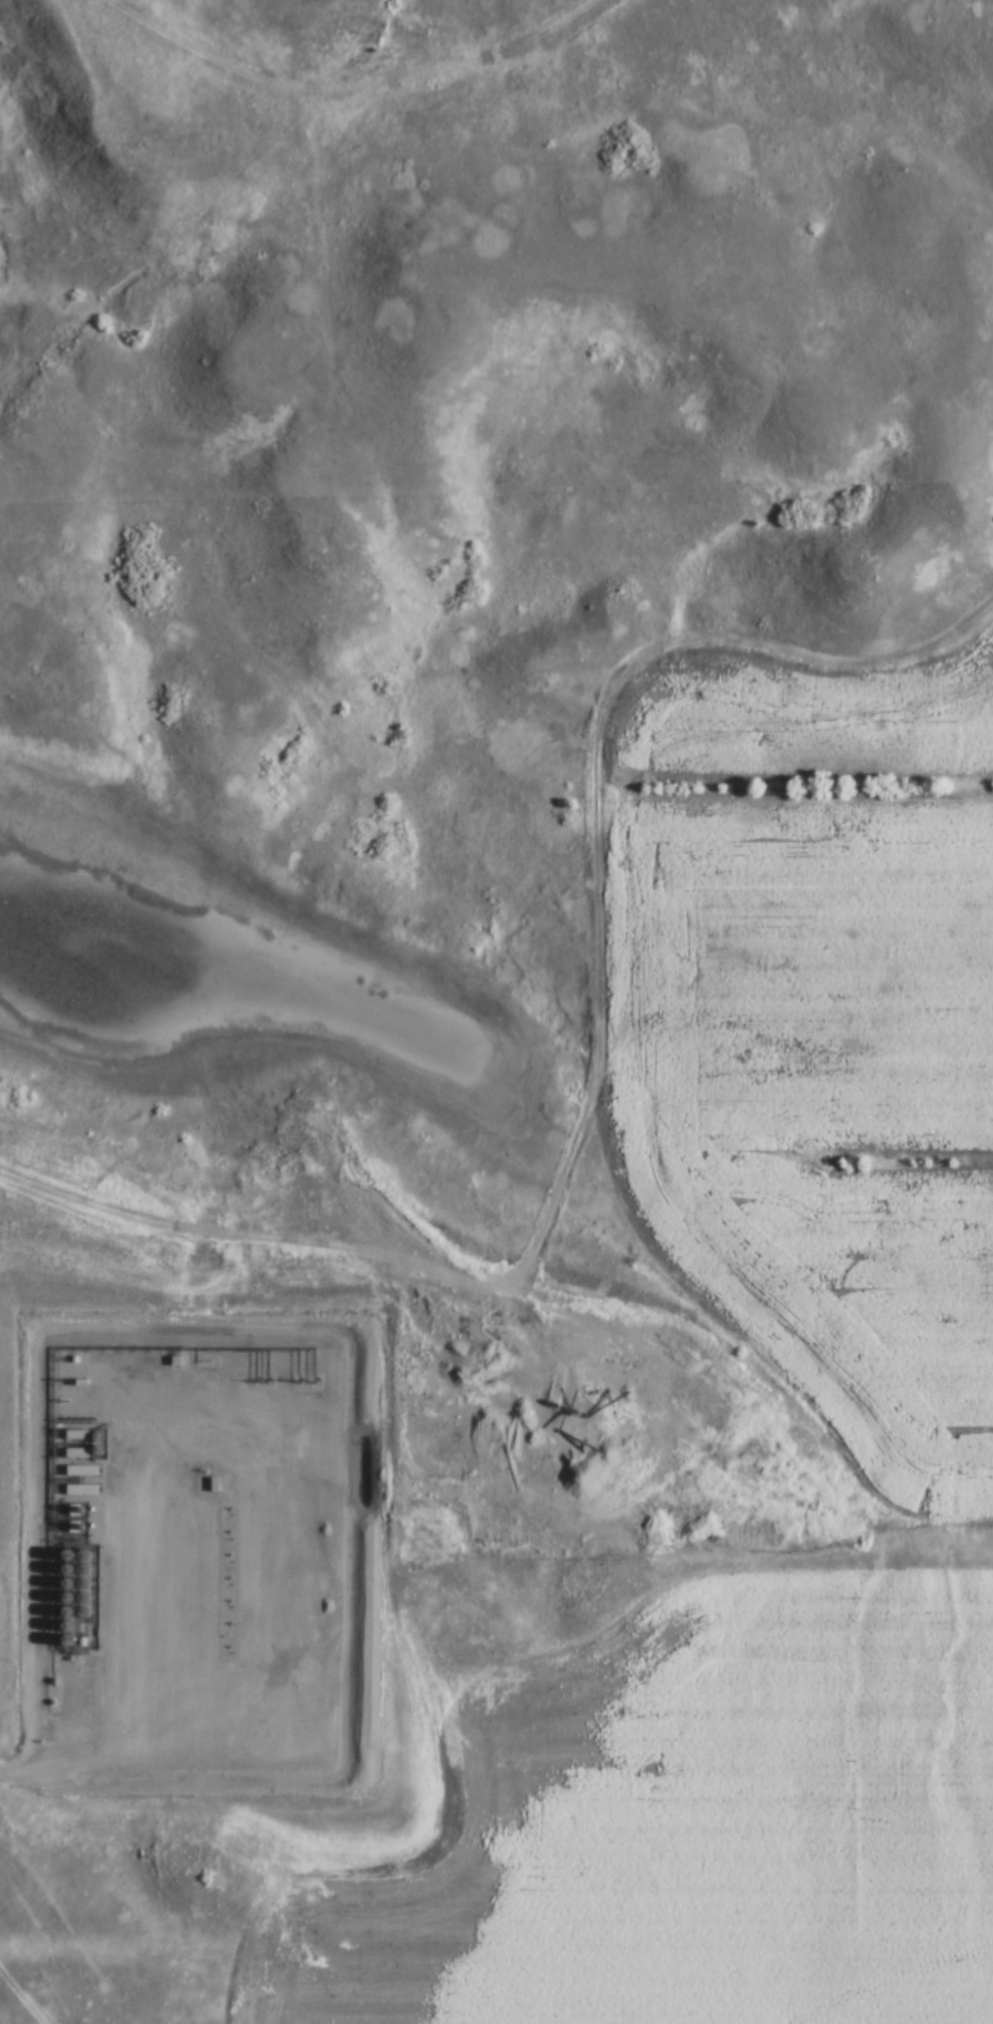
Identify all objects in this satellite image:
road: (386, 1476)
road: (199, 1682)
road: (12, 1716)
road: (93, 1815)

